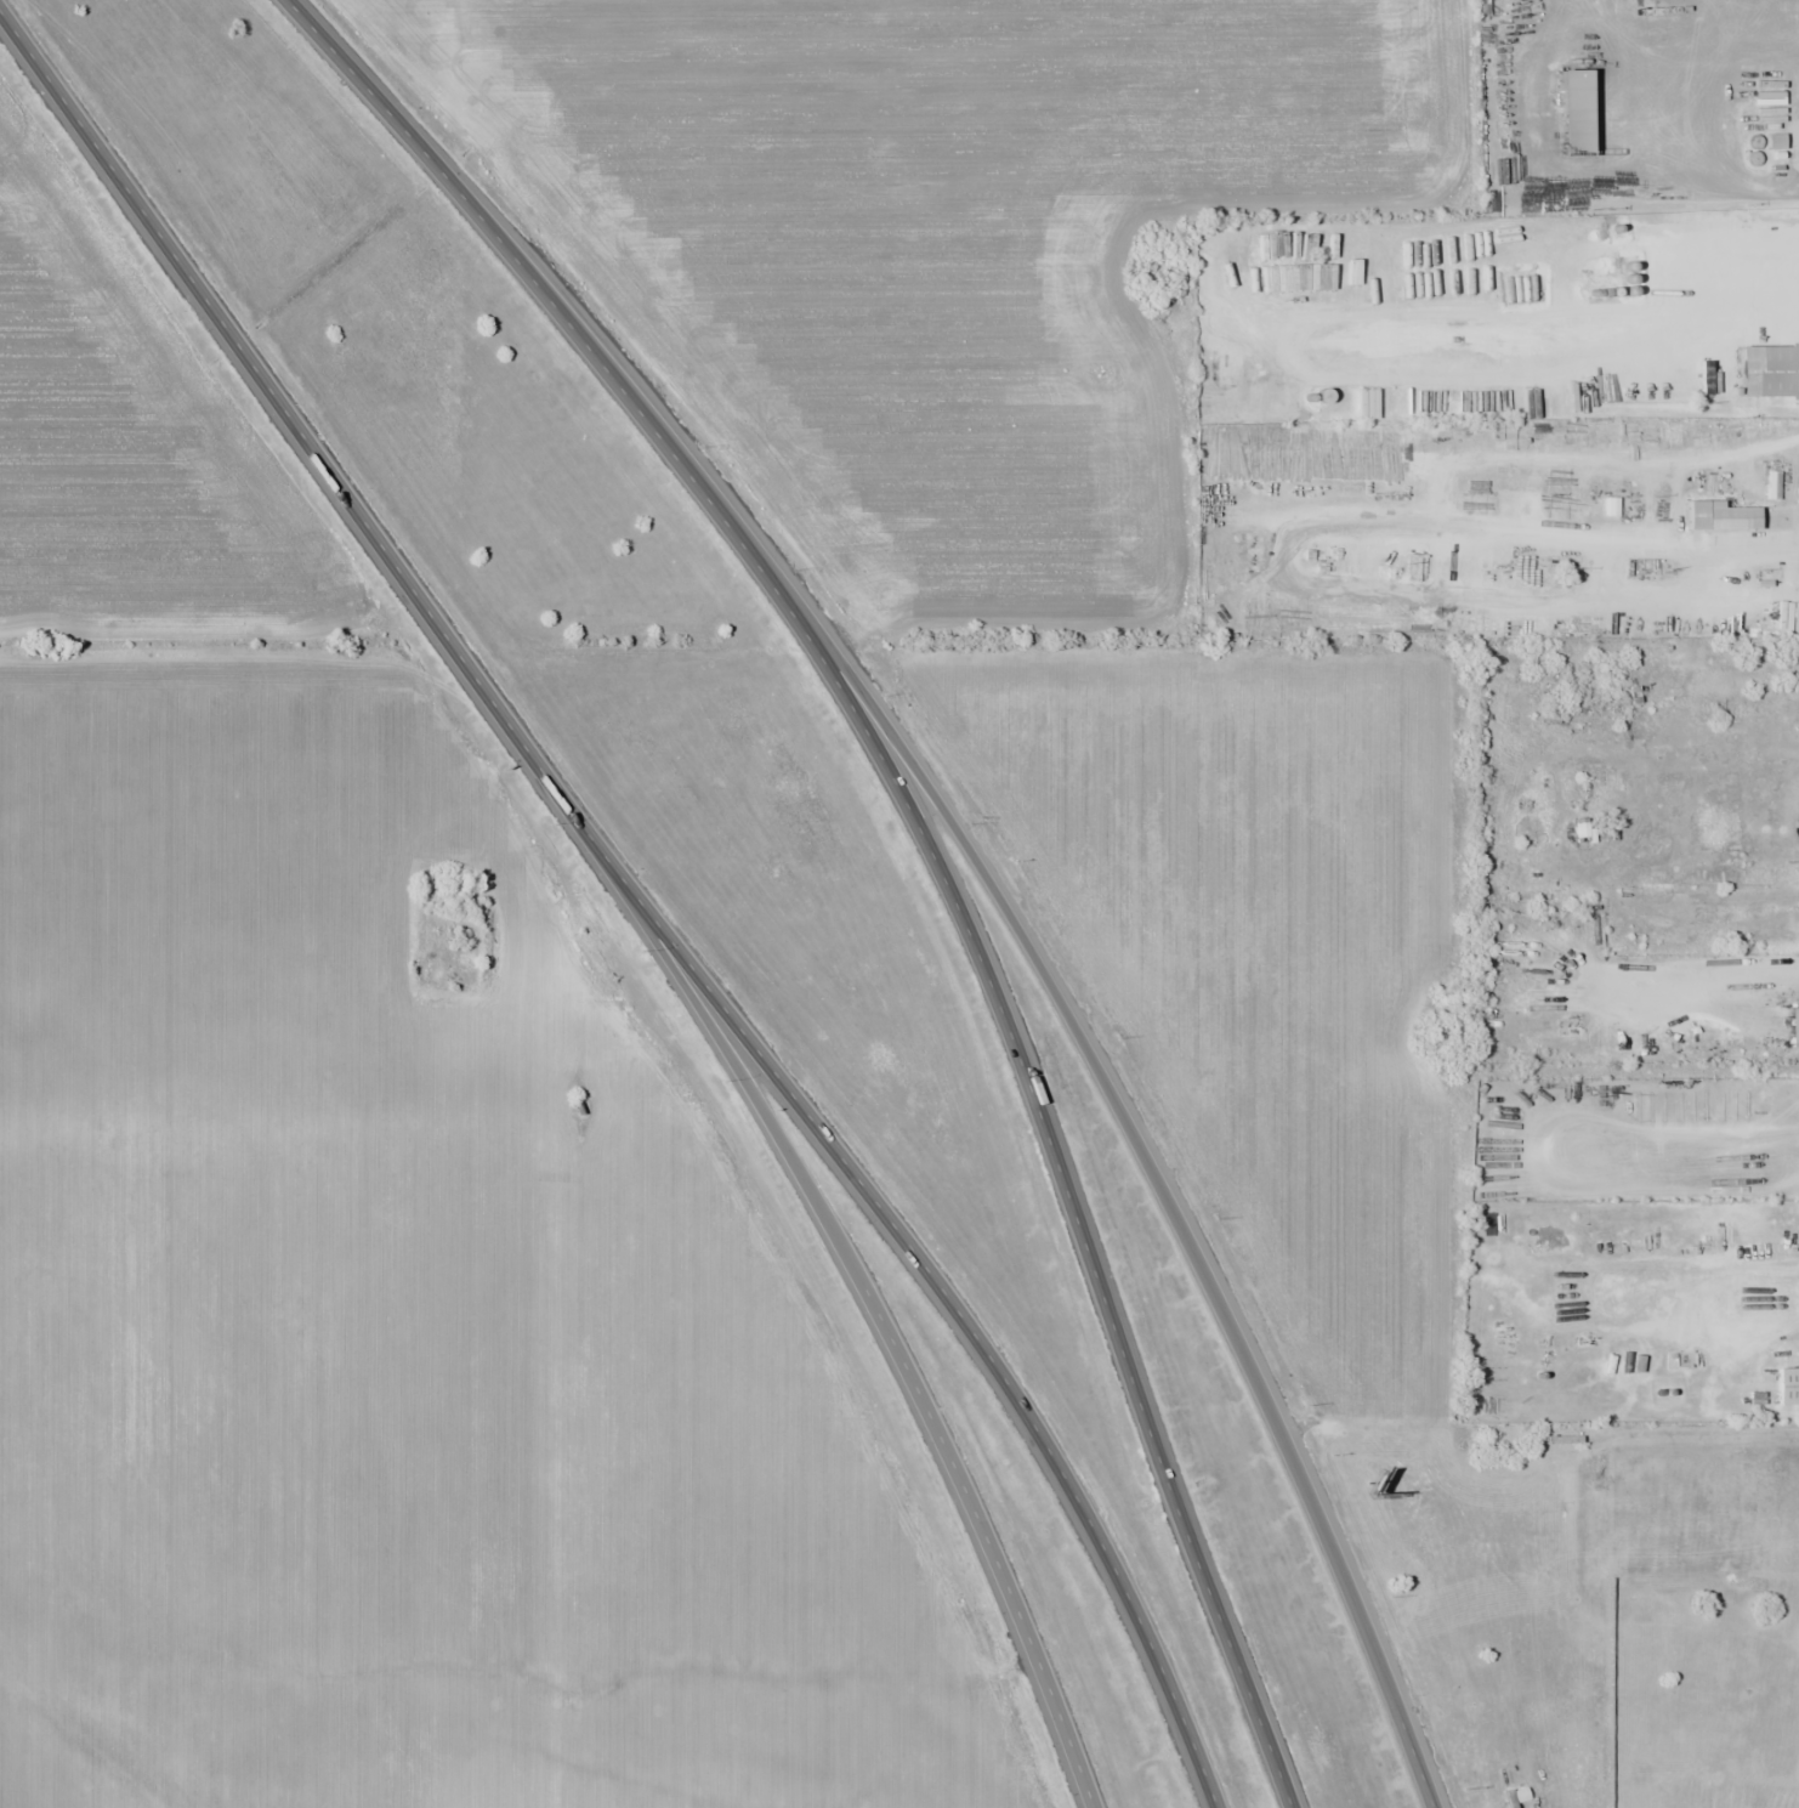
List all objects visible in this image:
building: (1572, 114)
building: (1767, 372)
building: (1718, 517)
road: (919, 829)
building: (1580, 829)
road: (635, 895)
building: (1793, 1025)
road: (1137, 1147)
road: (881, 1327)
building: (1786, 1385)

